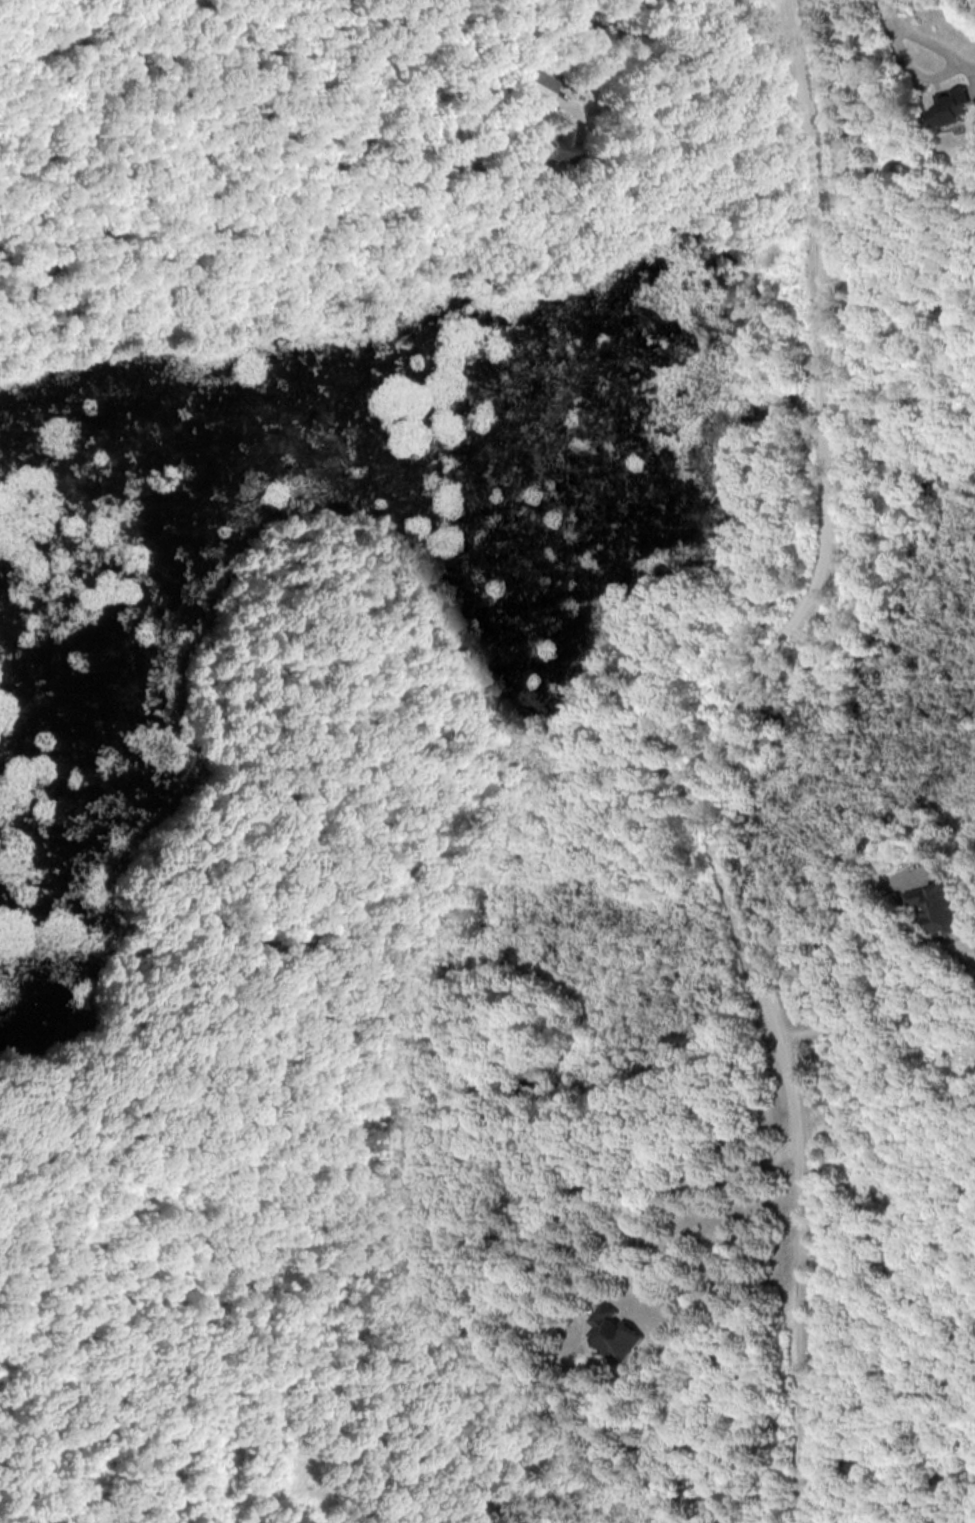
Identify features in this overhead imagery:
road: (890, 17)
road: (947, 79)
building: (533, 83)
road: (686, 88)
building: (947, 106)
building: (555, 144)
road: (717, 753)
road: (839, 937)
road: (633, 1181)
building: (613, 1331)

